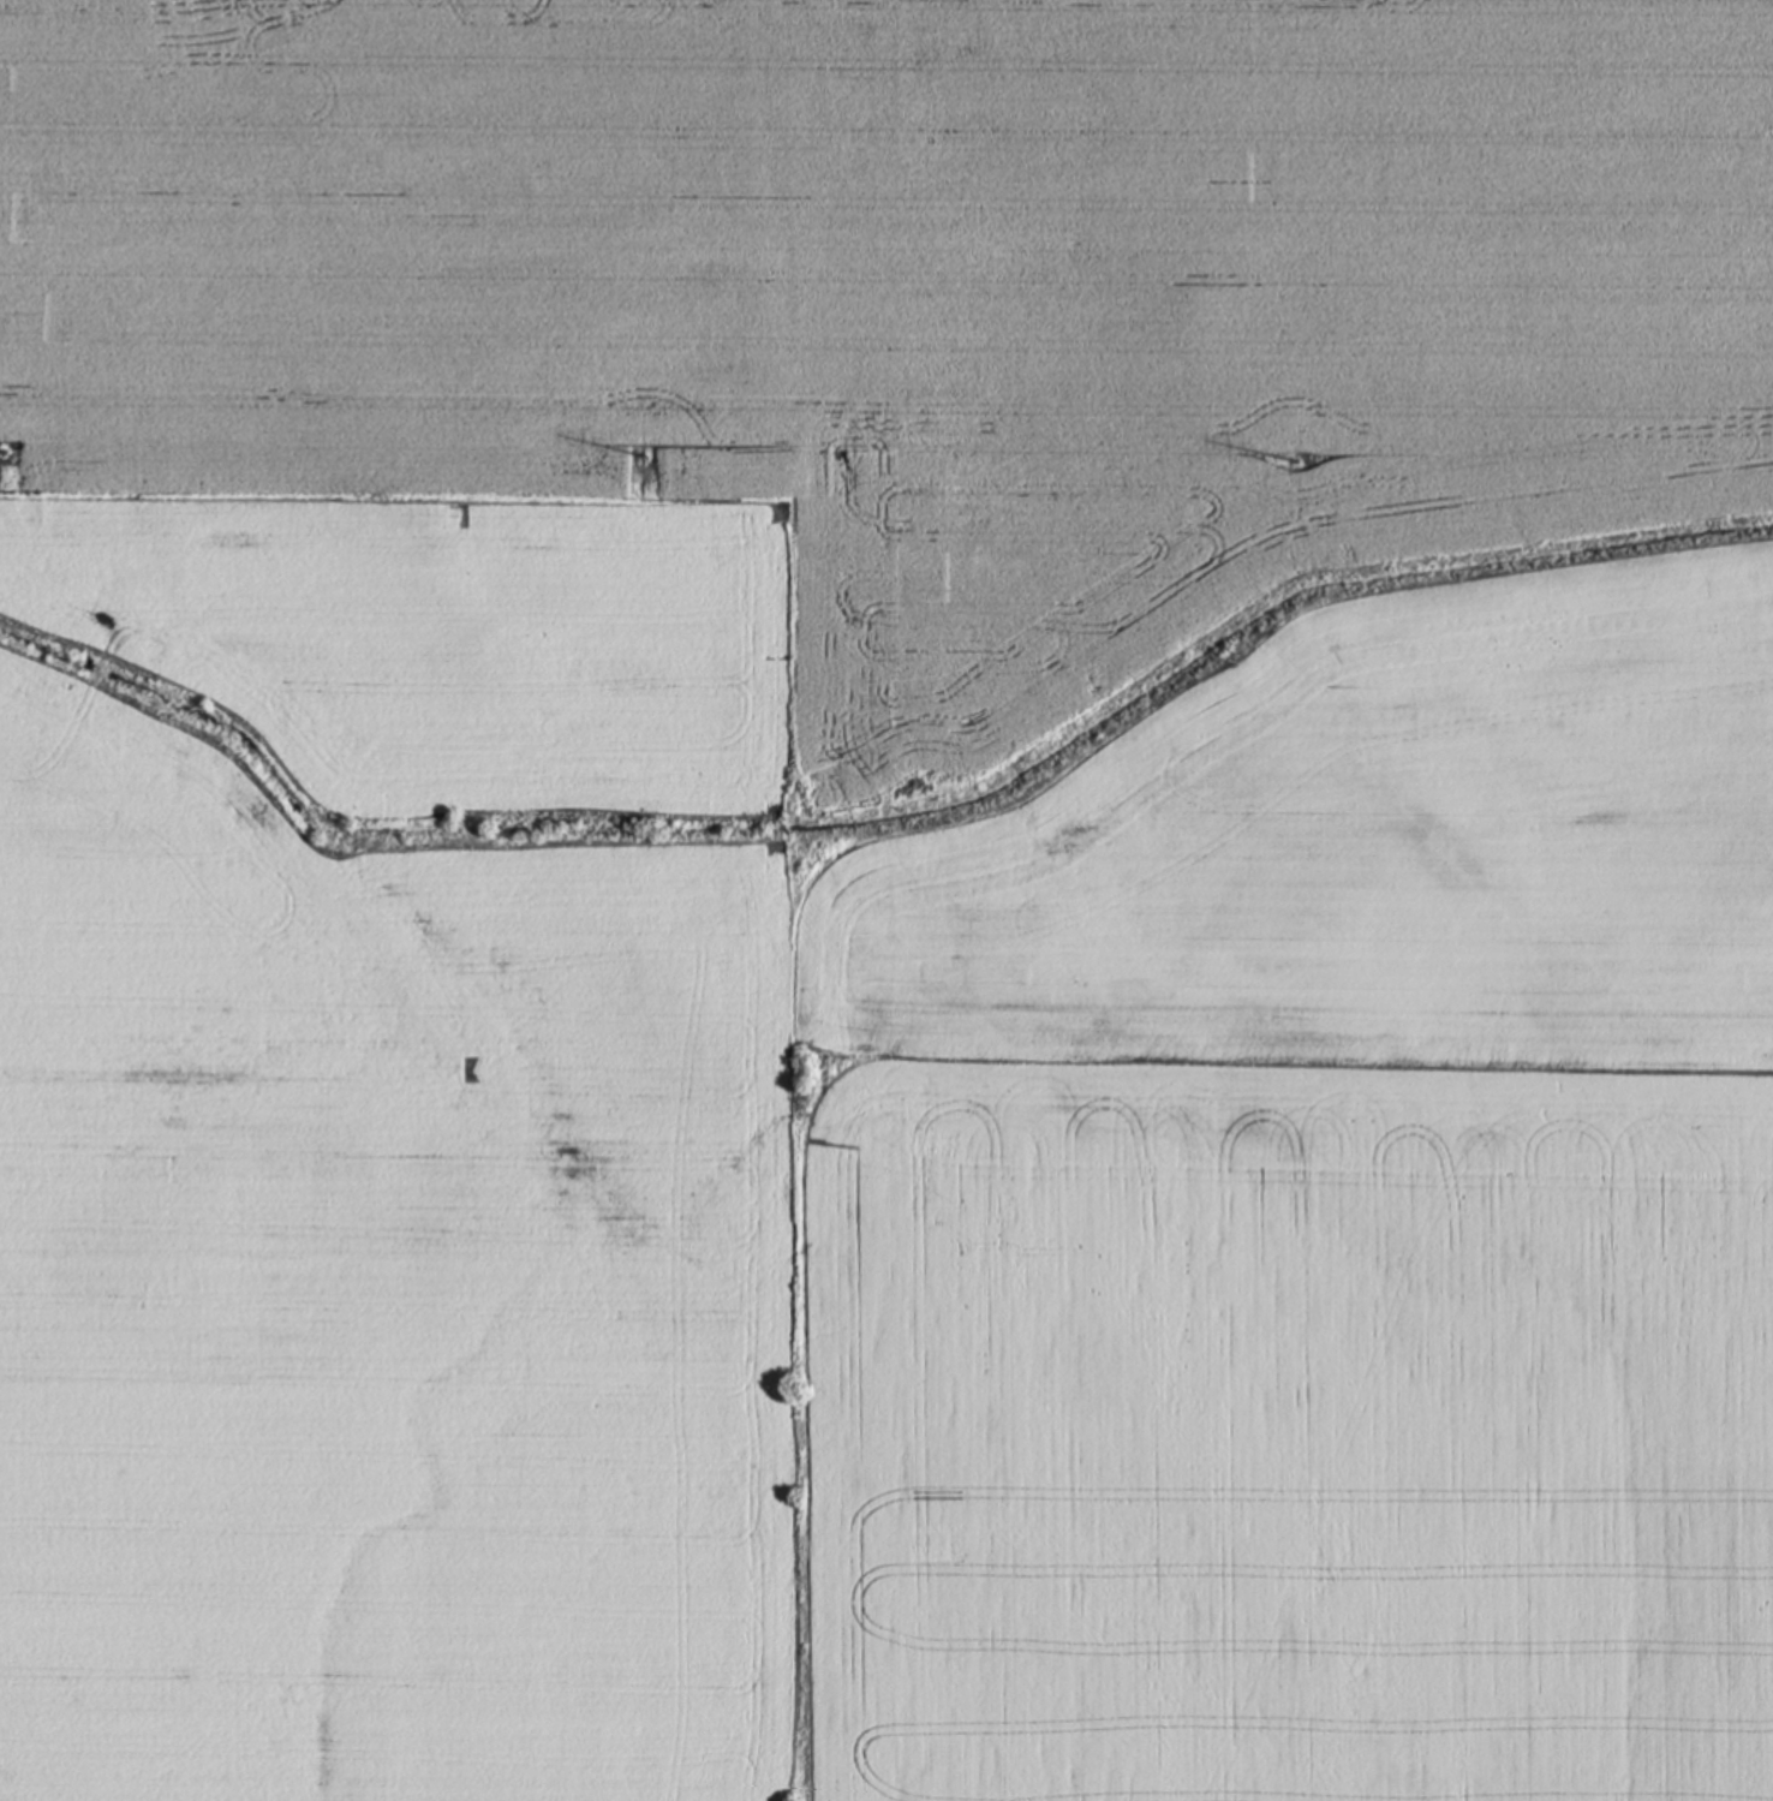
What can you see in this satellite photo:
power tower: (6, 457)
power tower: (1301, 465)

